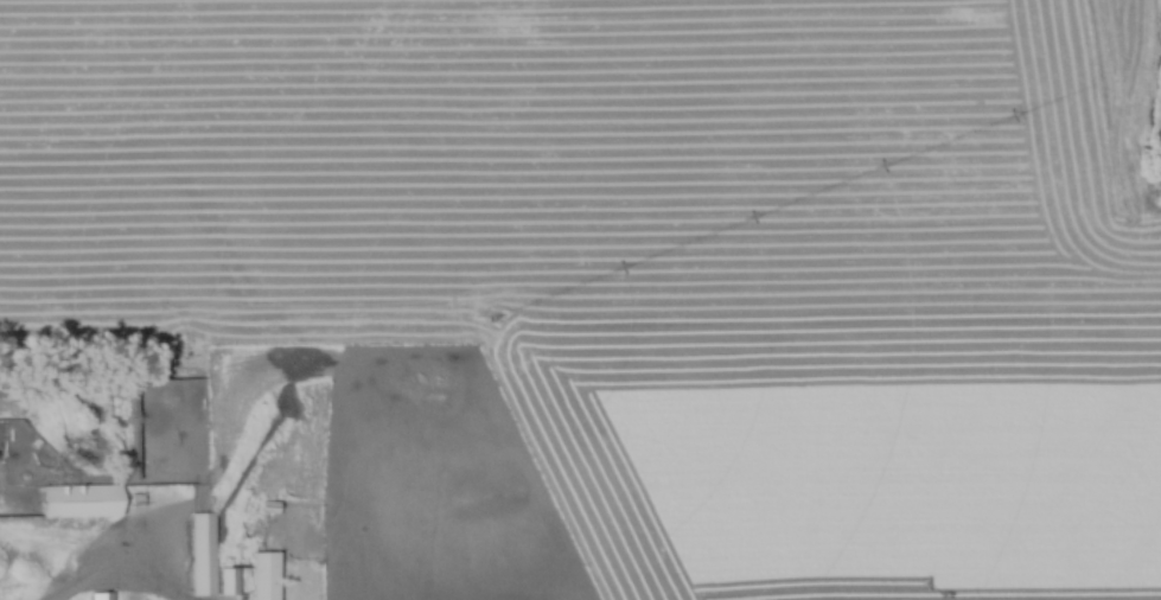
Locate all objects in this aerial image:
building: (79, 505)
building: (197, 558)
building: (262, 579)
building: (227, 580)
building: (96, 598)

